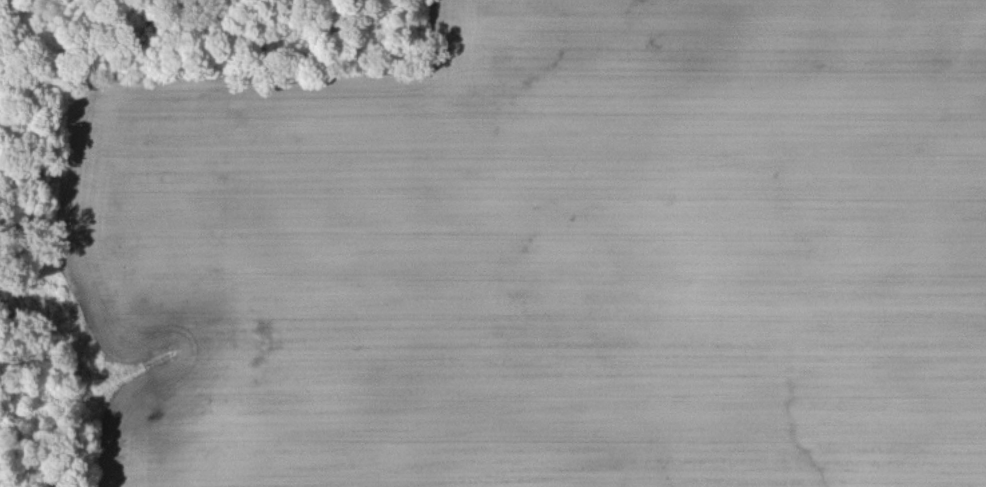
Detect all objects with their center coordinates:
crop: (552, 255)

